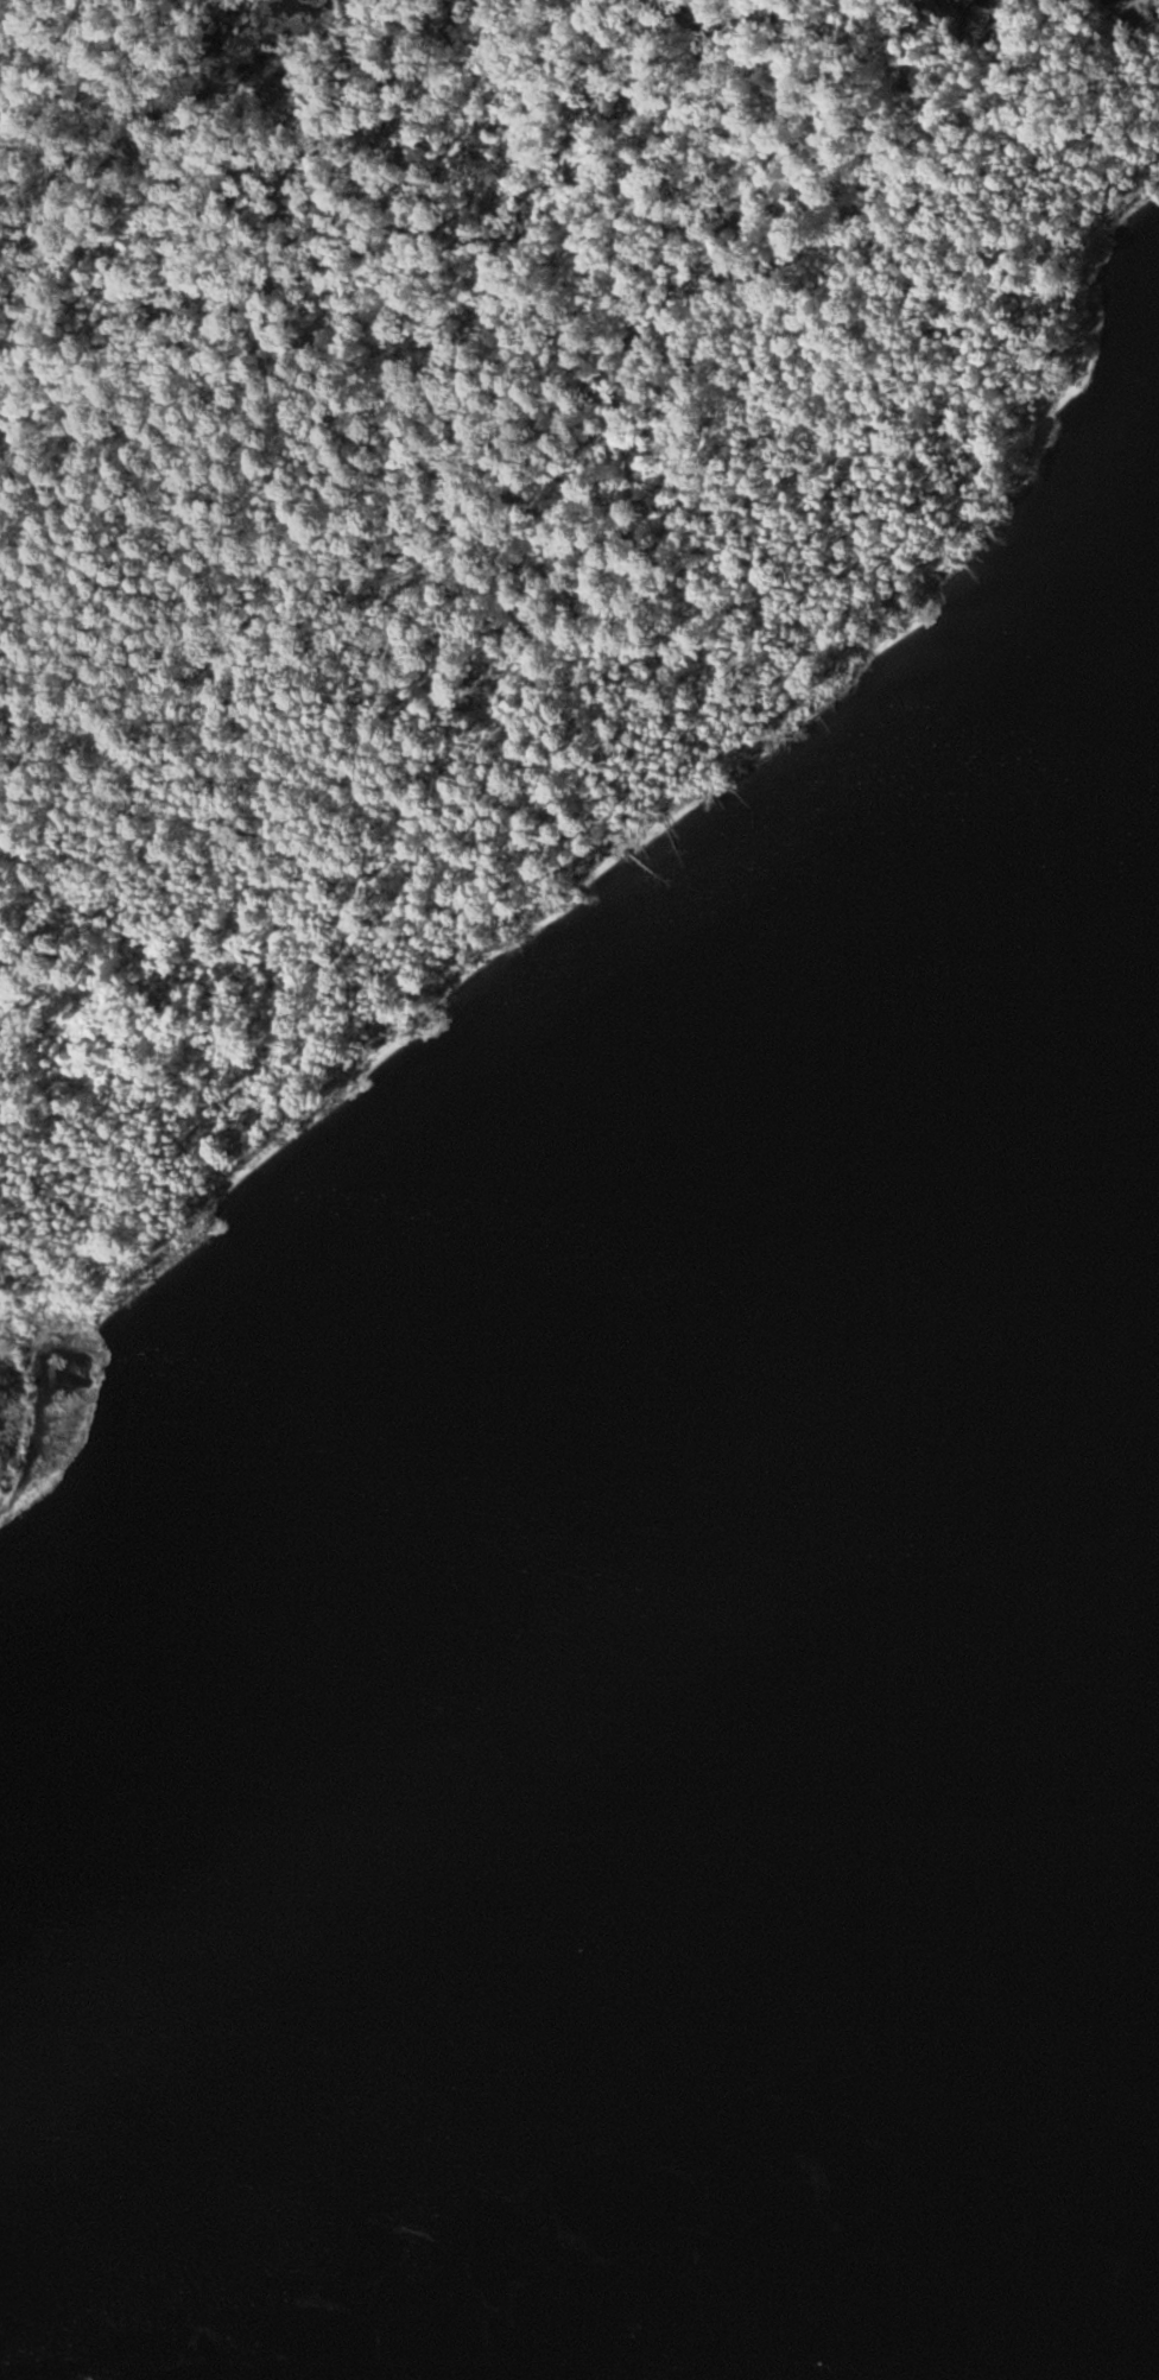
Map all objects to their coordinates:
river: (555, 2045)

